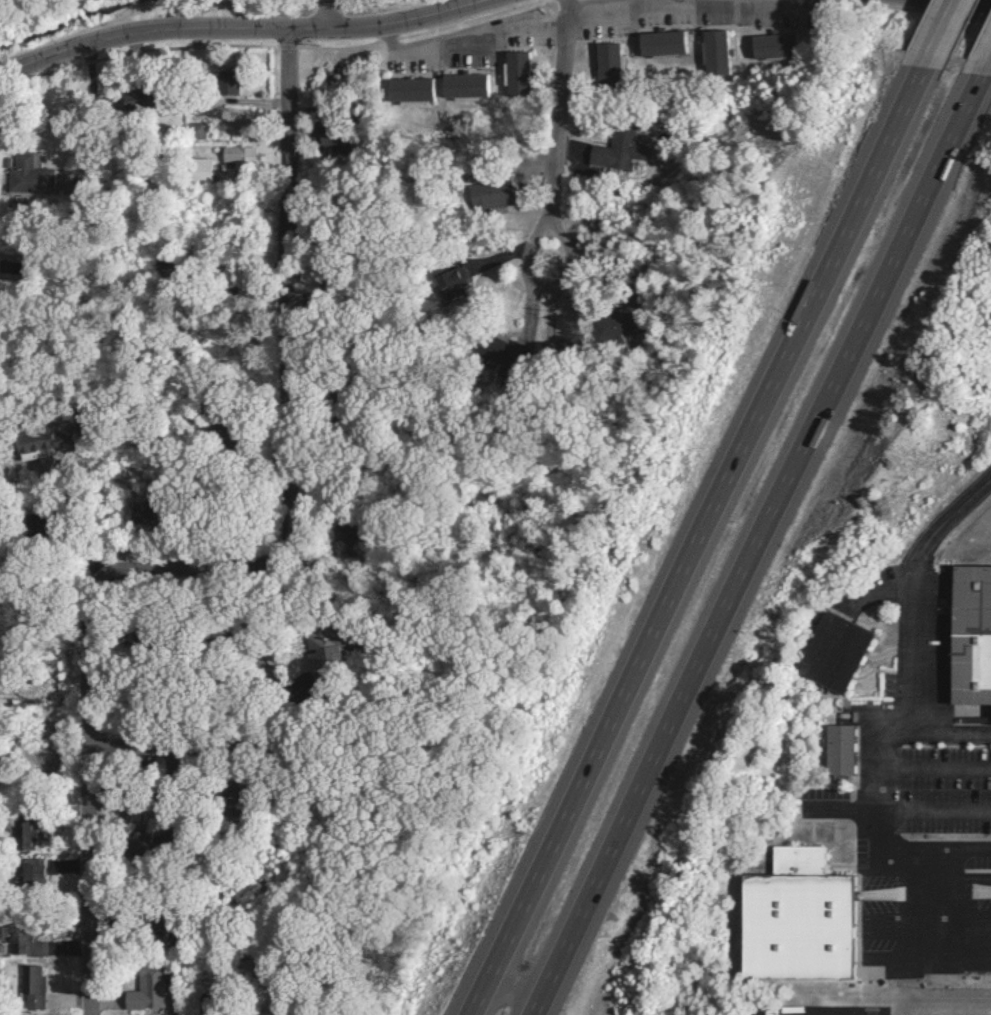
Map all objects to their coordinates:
road: (882, 0)
road: (932, 7)
road: (317, 18)
road: (934, 31)
road: (250, 35)
building: (650, 43)
building: (764, 45)
building: (705, 52)
building: (598, 61)
road: (987, 63)
building: (508, 73)
building: (216, 84)
building: (429, 88)
road: (81, 121)
building: (185, 130)
road: (546, 130)
building: (611, 149)
building: (230, 155)
building: (21, 173)
building: (486, 195)
building: (451, 280)
building: (618, 320)
road: (738, 430)
road: (802, 444)
road: (946, 521)
road: (79, 530)
road: (227, 574)
building: (965, 636)
building: (332, 647)
building: (824, 651)
road: (893, 740)
building: (831, 749)
road: (179, 755)
road: (136, 791)
building: (137, 844)
road: (918, 845)
building: (26, 874)
road: (505, 906)
road: (574, 916)
building: (786, 917)
building: (19, 944)
road: (278, 965)
building: (141, 985)
building: (24, 986)

